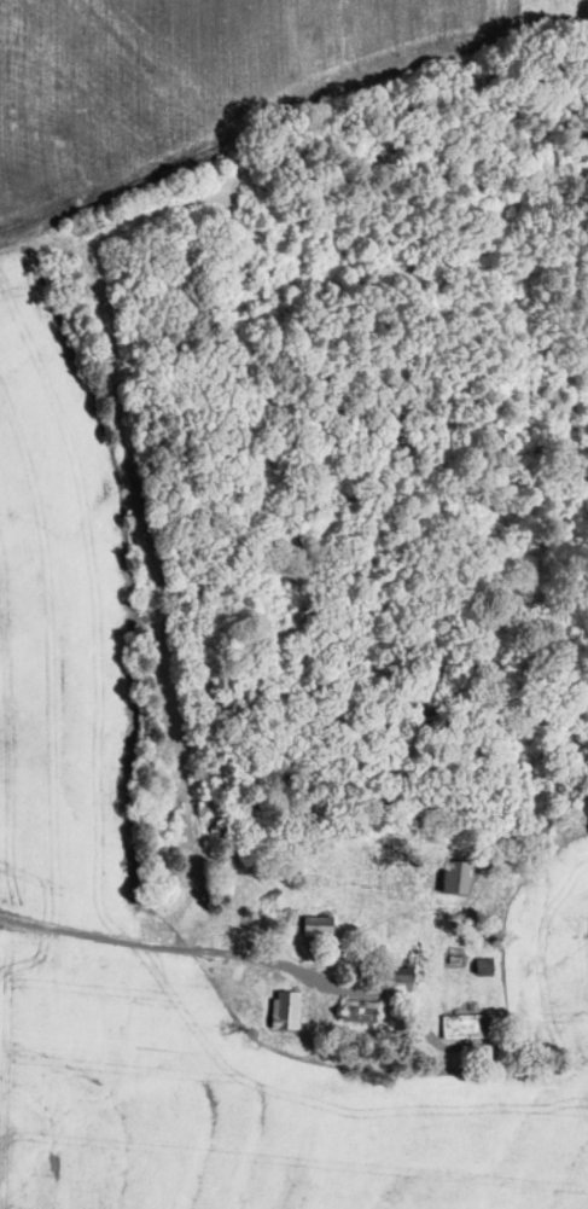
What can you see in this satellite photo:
building: (449, 878)
building: (314, 926)
building: (396, 975)
building: (280, 1010)
building: (353, 1010)
building: (460, 1025)

